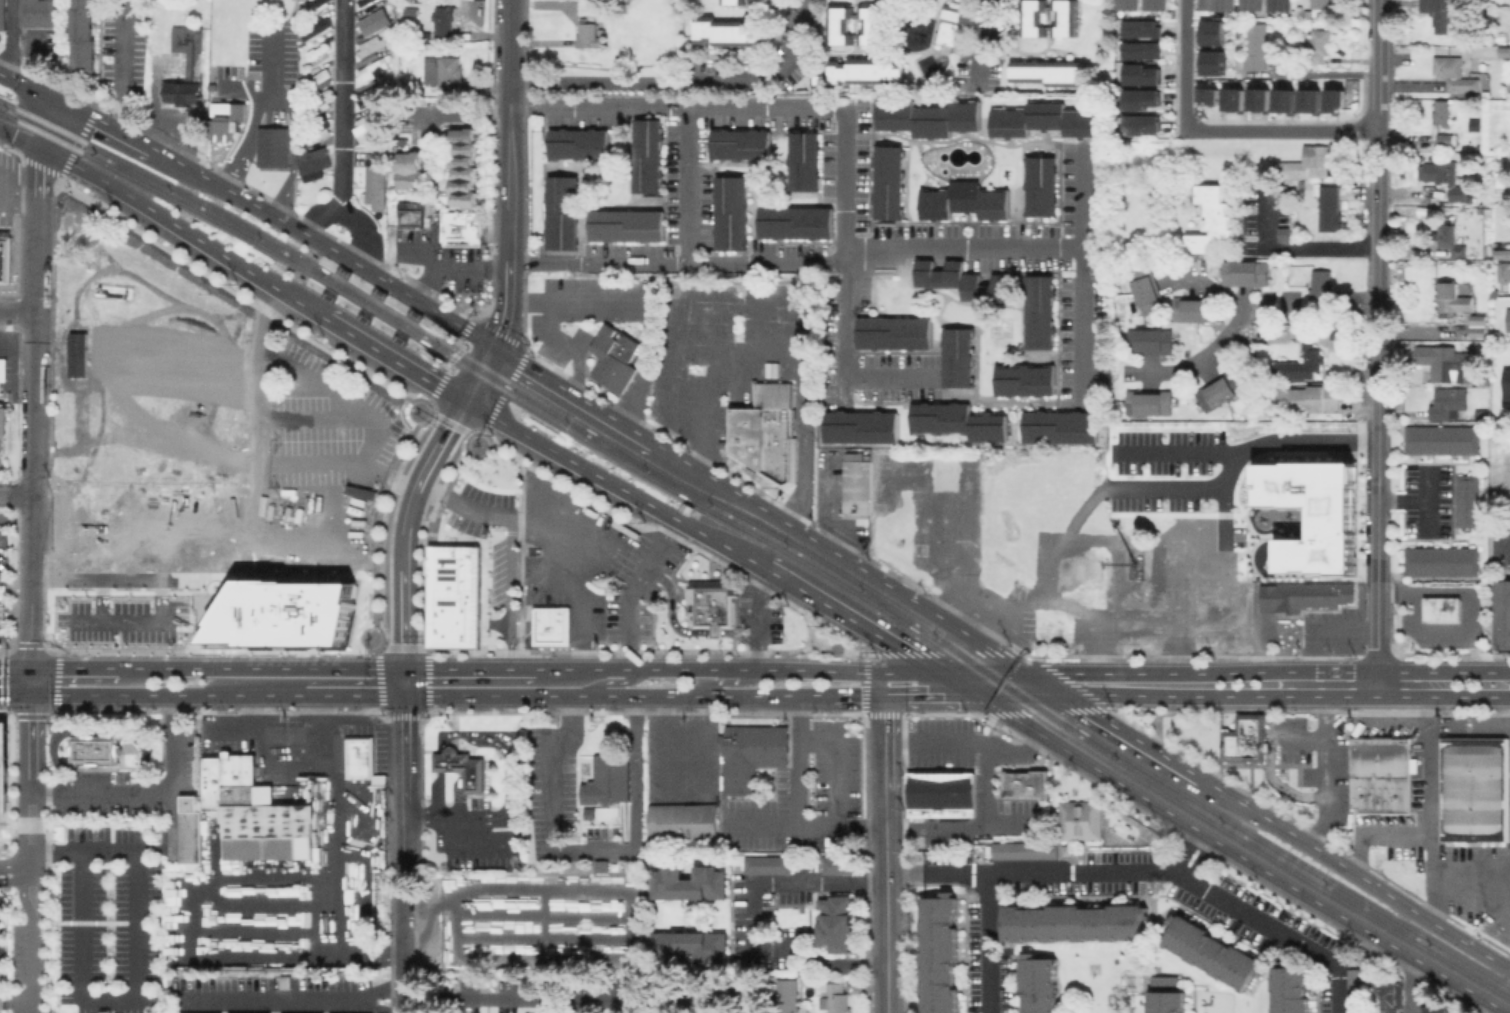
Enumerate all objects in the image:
building: (366, 2)
building: (596, 2)
building: (744, 2)
building: (1131, 4)
building: (1158, 4)
building: (1221, 4)
building: (1255, 4)
building: (1322, 4)
building: (1283, 5)
building: (318, 6)
building: (621, 8)
building: (38, 12)
building: (1032, 17)
building: (1441, 20)
building: (373, 21)
building: (3, 22)
building: (445, 22)
building: (950, 26)
building: (319, 30)
building: (1145, 30)
building: (721, 33)
building: (1218, 34)
building: (81, 35)
building: (424, 35)
road: (1379, 35)
building: (590, 36)
road: (11, 38)
building: (877, 39)
building: (161, 40)
road: (983, 41)
building: (1320, 45)
building: (376, 46)
building: (1258, 46)
building: (1145, 51)
road: (1186, 64)
building: (1217, 64)
building: (187, 66)
road: (124, 68)
building: (372, 69)
building: (445, 71)
building: (1047, 74)
building: (1142, 74)
building: (1452, 74)
building: (317, 81)
road: (681, 81)
road: (29, 87)
building: (374, 96)
building: (1211, 96)
road: (285, 99)
building: (1145, 100)
building: (1262, 100)
road: (1379, 100)
traffic signals: (59, 101)
building: (1286, 101)
building: (1236, 102)
building: (1313, 102)
building: (1337, 102)
railway: (6, 103)
road: (597, 104)
building: (324, 105)
road: (341, 105)
building: (1442, 112)
road: (466, 114)
railway: (7, 116)
building: (928, 118)
building: (225, 119)
building: (1044, 120)
railway: (49, 123)
road: (47, 124)
building: (1145, 126)
building: (369, 127)
road: (1282, 129)
building: (316, 134)
railway: (48, 136)
building: (1446, 138)
road: (20, 140)
building: (577, 143)
building: (739, 144)
building: (271, 146)
traffic signals: (40, 149)
building: (383, 154)
building: (646, 156)
road: (70, 157)
building: (803, 161)
building: (315, 162)
building: (1306, 165)
building: (464, 167)
building: (411, 172)
building: (1447, 179)
building: (887, 182)
road: (686, 184)
building: (377, 185)
building: (1039, 185)
railway: (200, 201)
building: (963, 201)
road: (508, 205)
road: (843, 205)
building: (1328, 208)
railway: (196, 210)
building: (561, 212)
building: (730, 212)
road: (155, 213)
building: (415, 214)
road: (317, 215)
building: (1210, 220)
building: (795, 222)
building: (625, 225)
building: (463, 229)
road: (36, 230)
road: (365, 234)
building: (1450, 240)
road: (1295, 244)
road: (882, 248)
building: (1502, 253)
building: (6, 259)
road: (596, 263)
road: (453, 264)
building: (1508, 272)
building: (1243, 273)
road: (1378, 276)
road: (1082, 277)
building: (962, 280)
building: (1319, 283)
railway: (302, 284)
road: (1208, 284)
building: (1145, 295)
building: (1453, 301)
railway: (383, 305)
building: (1190, 309)
road: (1249, 310)
building: (1039, 312)
road: (17, 313)
railway: (378, 314)
building: (1477, 319)
building: (1509, 320)
road: (649, 321)
railway: (442, 327)
building: (1478, 330)
building: (892, 332)
building: (1339, 332)
road: (501, 333)
road: (357, 334)
road: (449, 337)
road: (553, 338)
building: (1147, 340)
road: (6, 343)
road: (23, 344)
traffic signals: (490, 348)
road: (33, 357)
building: (616, 357)
building: (956, 357)
road: (452, 359)
road: (436, 361)
building: (1447, 362)
building: (1302, 363)
building: (3, 371)
road: (720, 377)
building: (1024, 380)
railway: (510, 383)
road: (504, 391)
building: (1508, 391)
railway: (505, 393)
road: (562, 393)
building: (1214, 393)
building: (1311, 399)
traffic signals: (463, 400)
building: (1447, 401)
building: (1147, 402)
road: (234, 413)
building: (1483, 415)
building: (957, 421)
road: (449, 423)
building: (859, 426)
building: (779, 427)
building: (1059, 427)
building: (750, 434)
building: (2, 438)
road: (801, 440)
building: (1443, 440)
road: (1178, 452)
road: (560, 457)
road: (1220, 484)
road: (15, 495)
road: (1415, 499)
building: (1468, 500)
road: (1377, 502)
road: (823, 503)
building: (877, 511)
building: (923, 514)
road: (1426, 514)
building: (965, 517)
building: (1310, 520)
railway: (757, 524)
road: (405, 527)
road: (655, 527)
railway: (748, 531)
building: (1181, 531)
road: (30, 535)
road: (1502, 542)
road: (510, 543)
road: (520, 557)
building: (965, 557)
building: (1442, 560)
building: (998, 575)
road: (161, 583)
road: (632, 589)
road: (1461, 590)
building: (1154, 593)
road: (810, 595)
building: (1204, 595)
building: (452, 596)
building: (1304, 598)
building: (713, 603)
road: (1072, 603)
building: (1443, 608)
road: (1011, 612)
building: (1502, 613)
road: (757, 618)
building: (551, 625)
building: (1054, 625)
road: (1423, 628)
building: (1242, 639)
road: (1376, 639)
road: (416, 647)
road: (839, 651)
road: (622, 652)
road: (951, 653)
road: (14, 668)
traffic signals: (29, 668)
road: (73, 668)
road: (260, 668)
traffic signals: (404, 669)
road: (468, 669)
road: (736, 670)
road: (1442, 671)
road: (427, 674)
traffic signals: (940, 674)
traffic signals: (1028, 674)
road: (1158, 674)
railway: (1006, 680)
road: (29, 681)
road: (404, 682)
road: (610, 683)
road: (736, 683)
road: (955, 683)
road: (865, 684)
road: (1074, 684)
railway: (996, 686)
traffic signals: (971, 693)
road: (1016, 693)
traffic signals: (884, 694)
traffic signals: (1061, 694)
traffic signals: (30, 695)
road: (1183, 695)
traffic signals: (404, 696)
road: (485, 696)
road: (1369, 696)
road: (1470, 697)
road: (1311, 710)
road: (1049, 711)
road: (946, 713)
road: (884, 714)
road: (1389, 718)
road: (1158, 725)
road: (97, 729)
road: (448, 733)
road: (1129, 736)
road: (481, 737)
road: (1303, 738)
building: (1246, 739)
road: (510, 740)
road: (29, 743)
road: (465, 743)
road: (1222, 743)
road: (966, 746)
road: (500, 748)
building: (93, 749)
building: (752, 754)
building: (359, 755)
road: (461, 761)
road: (798, 761)
road: (439, 762)
road: (836, 765)
road: (292, 767)
building: (460, 767)
road: (1324, 772)
building: (3, 773)
building: (1382, 775)
building: (609, 779)
building: (1027, 783)
building: (943, 790)
building: (1475, 790)
road: (146, 791)
road: (404, 793)
road: (438, 793)
road: (458, 793)
road: (508, 796)
road: (685, 798)
road: (1428, 808)
building: (251, 810)
road: (446, 816)
building: (1082, 819)
building: (684, 822)
road: (21, 827)
road: (975, 827)
road: (807, 828)
building: (188, 830)
road: (1311, 832)
road: (1377, 833)
building: (1018, 849)
building: (1068, 850)
road: (590, 851)
road: (1186, 852)
road: (133, 853)
road: (885, 853)
road: (1237, 855)
road: (39, 856)
railway: (1289, 857)
road: (1201, 861)
building: (767, 865)
road: (10, 866)
building: (837, 866)
railway: (1286, 867)
road: (326, 872)
road: (21, 873)
road: (1081, 873)
road: (1354, 873)
road: (937, 874)
road: (10, 881)
building: (690, 884)
road: (1470, 887)
building: (1113, 888)
building: (1041, 889)
building: (1253, 898)
road: (22, 902)
road: (627, 911)
road: (746, 914)
building: (838, 921)
building: (1076, 923)
building: (1235, 926)
road: (1276, 931)
building: (1321, 939)
road: (990, 943)
building: (691, 947)
building: (975, 950)
road: (402, 951)
building: (1213, 952)
road: (384, 953)
building: (941, 956)
road: (32, 974)
building: (1007, 979)
building: (808, 981)
building: (1040, 984)
road: (1410, 985)
building: (1291, 989)
building: (1359, 991)
building: (742, 992)
building: (784, 995)
building: (701, 996)
building: (1167, 996)
building: (1386, 997)
road: (404, 998)
building: (837, 998)
road: (105, 1001)
road: (1481, 1006)
building: (1435, 1009)

